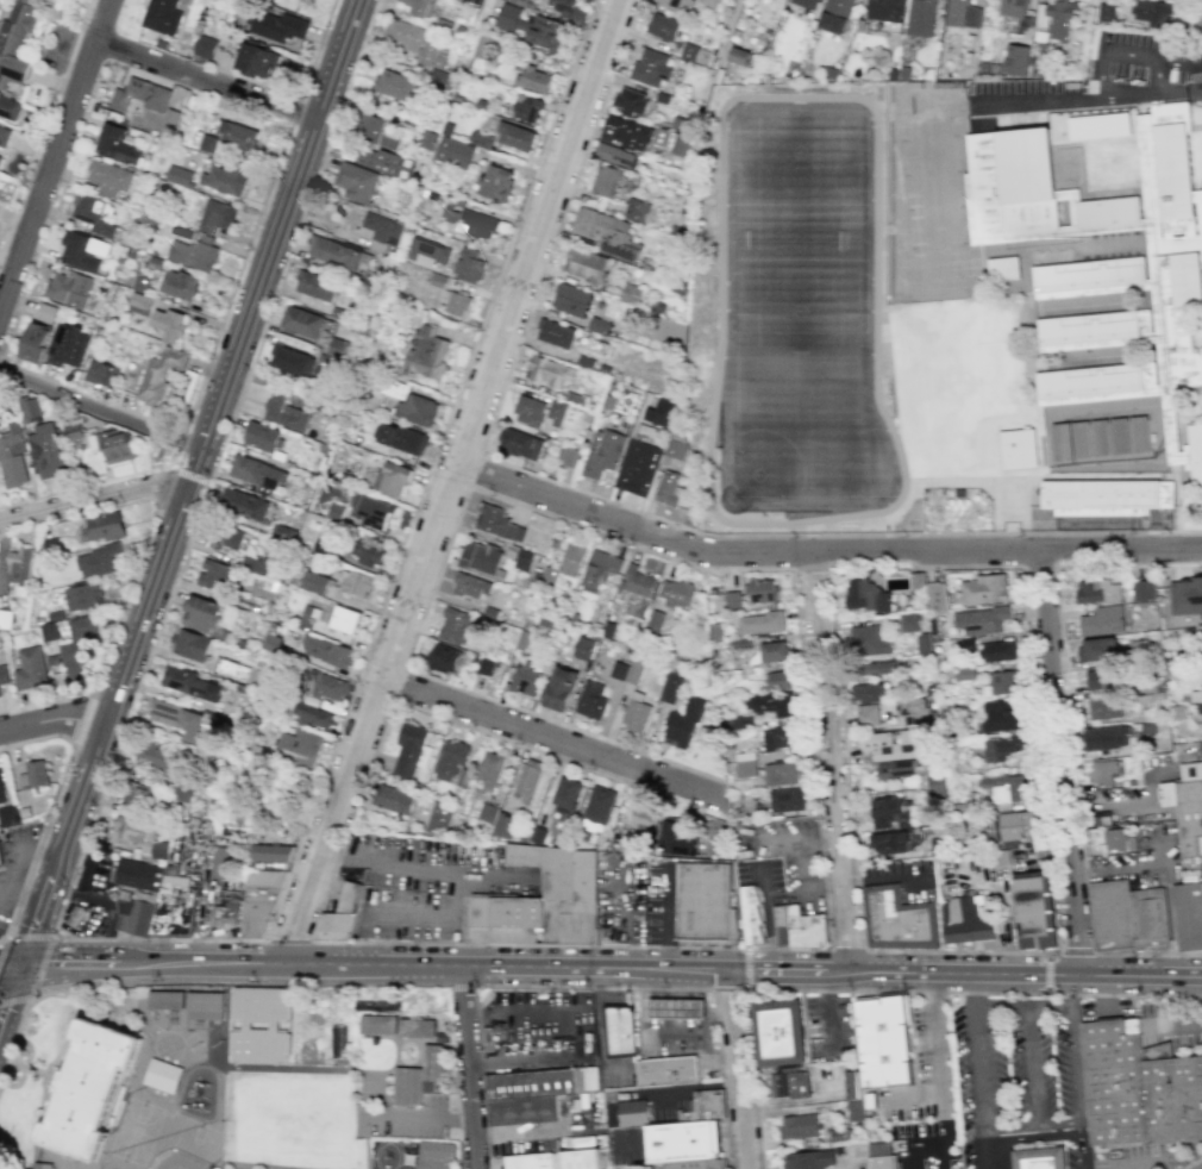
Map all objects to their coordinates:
building: (524, 2)
building: (708, 2)
building: (675, 4)
building: (807, 4)
building: (419, 7)
building: (565, 7)
building: (885, 10)
building: (1153, 12)
building: (1107, 13)
building: (963, 14)
building: (1012, 14)
building: (161, 15)
building: (834, 15)
building: (920, 17)
building: (1054, 18)
road: (1200, 19)
building: (278, 26)
building: (532, 26)
building: (662, 26)
road: (728, 31)
road: (480, 33)
building: (15, 42)
building: (413, 42)
building: (483, 45)
building: (205, 46)
road: (315, 48)
building: (695, 54)
building: (739, 56)
building: (1015, 60)
building: (257, 61)
building: (651, 67)
building: (438, 77)
parking lot: (1106, 79)
building: (534, 80)
road: (205, 82)
building: (395, 85)
building: (139, 95)
building: (630, 101)
building: (8, 108)
building: (527, 108)
road: (294, 110)
road: (38, 127)
building: (613, 129)
building: (380, 130)
building: (4, 136)
building: (237, 136)
building: (515, 136)
building: (638, 136)
building: (427, 139)
building: (481, 139)
building: (207, 143)
building: (114, 144)
building: (681, 144)
building: (453, 152)
building: (615, 155)
building: (0, 156)
road: (55, 156)
building: (392, 163)
building: (177, 175)
building: (107, 177)
building: (224, 180)
building: (606, 181)
building: (356, 182)
building: (496, 182)
road: (1200, 201)
building: (636, 210)
building: (90, 214)
building: (215, 215)
building: (472, 223)
building: (382, 232)
building: (607, 233)
building: (82, 250)
building: (334, 252)
building: (427, 252)
building: (194, 254)
building: (468, 264)
building: (586, 264)
building: (1112, 264)
building: (1003, 268)
building: (177, 285)
building: (315, 286)
building: (69, 287)
building: (631, 293)
building: (570, 299)
building: (456, 302)
building: (138, 304)
building: (44, 312)
track: (797, 315)
park: (797, 317)
building: (302, 321)
building: (168, 324)
building: (556, 332)
building: (35, 342)
building: (67, 345)
building: (338, 348)
building: (426, 354)
building: (292, 361)
road: (205, 370)
building: (549, 371)
building: (100, 373)
building: (159, 374)
building: (411, 404)
building: (27, 407)
road: (100, 411)
building: (528, 411)
building: (284, 412)
building: (556, 412)
building: (659, 412)
building: (73, 430)
building: (263, 437)
building: (402, 438)
building: (1060, 440)
road: (180, 442)
building: (1110, 442)
building: (520, 443)
building: (115, 446)
building: (1018, 448)
building: (675, 449)
building: (44, 451)
building: (602, 452)
building: (12, 456)
building: (570, 456)
building: (638, 467)
road: (474, 470)
road: (190, 473)
building: (257, 473)
building: (392, 479)
road: (163, 482)
road: (92, 483)
road: (453, 485)
building: (668, 488)
road: (599, 496)
building: (1104, 496)
road: (92, 501)
building: (243, 504)
road: (1013, 508)
road: (177, 512)
building: (375, 512)
building: (497, 523)
building: (104, 526)
building: (227, 537)
building: (323, 545)
building: (369, 552)
road: (822, 555)
building: (480, 557)
building: (571, 558)
building: (95, 561)
road: (137, 563)
building: (256, 563)
road: (1037, 565)
road: (828, 567)
road: (809, 568)
building: (599, 569)
building: (18, 570)
building: (213, 575)
building: (638, 581)
building: (916, 581)
building: (315, 582)
building: (355, 582)
building: (471, 586)
building: (984, 589)
building: (1142, 589)
building: (760, 590)
building: (1097, 590)
building: (676, 593)
building: (937, 595)
building: (82, 596)
building: (865, 596)
building: (1185, 596)
building: (732, 599)
building: (201, 613)
building: (307, 618)
building: (5, 619)
building: (344, 619)
building: (979, 620)
building: (1102, 620)
building: (908, 621)
building: (760, 623)
building: (453, 625)
building: (48, 631)
building: (868, 640)
building: (922, 643)
building: (190, 644)
building: (76, 646)
building: (583, 648)
building: (1098, 649)
building: (326, 651)
building: (774, 651)
building: (997, 651)
building: (443, 657)
building: (877, 667)
building: (30, 669)
building: (627, 669)
building: (2, 674)
building: (964, 674)
building: (524, 679)
building: (1098, 679)
building: (777, 680)
building: (1003, 682)
building: (192, 683)
road: (397, 684)
building: (671, 686)
building: (328, 687)
building: (559, 688)
building: (868, 692)
building: (0, 693)
building: (591, 700)
building: (775, 704)
building: (1104, 707)
building: (914, 711)
building: (866, 714)
building: (636, 715)
road: (81, 717)
building: (313, 717)
building: (1000, 717)
building: (177, 718)
road: (55, 724)
building: (682, 725)
building: (1107, 737)
road: (36, 738)
building: (778, 738)
road: (1070, 738)
road: (557, 742)
building: (890, 744)
building: (298, 746)
building: (1000, 749)
building: (411, 750)
building: (155, 754)
building: (450, 759)
building: (745, 764)
road: (832, 764)
road: (1058, 764)
building: (895, 769)
building: (488, 770)
building: (1102, 770)
building: (780, 774)
building: (33, 775)
building: (527, 777)
building: (935, 782)
building: (1006, 788)
building: (182, 793)
building: (137, 794)
building: (565, 794)
building: (392, 799)
building: (785, 800)
building: (597, 809)
building: (487, 812)
building: (891, 812)
building: (7, 815)
building: (1103, 817)
building: (439, 818)
building: (643, 818)
building: (1190, 819)
building: (505, 825)
building: (1013, 827)
building: (130, 830)
road: (797, 837)
building: (677, 839)
road: (39, 840)
building: (1118, 840)
building: (889, 842)
building: (158, 849)
building: (270, 852)
road: (42, 855)
parking lot: (785, 855)
building: (220, 862)
building: (0, 864)
parking lot: (13, 864)
road: (424, 867)
building: (0, 870)
building: (137, 874)
road: (15, 875)
parking lot: (762, 877)
road: (809, 879)
road: (824, 888)
building: (562, 889)
parking lot: (619, 896)
building: (349, 898)
parking lot: (659, 899)
building: (258, 900)
building: (703, 901)
building: (173, 905)
building: (225, 906)
building: (134, 913)
building: (749, 913)
building: (506, 914)
building: (74, 915)
building: (1038, 915)
building: (1110, 915)
building: (1188, 917)
building: (1152, 919)
road: (625, 920)
road: (664, 921)
building: (900, 921)
road: (769, 924)
building: (969, 924)
building: (334, 926)
building: (797, 926)
road: (2, 937)
road: (159, 939)
road: (286, 940)
road: (846, 949)
road: (45, 950)
road: (1075, 951)
road: (10, 964)
road: (52, 964)
road: (113, 965)
road: (744, 967)
traffic signals: (20, 969)
road: (433, 969)
road: (1046, 971)
road: (10, 973)
road: (775, 974)
road: (838, 974)
road: (1027, 975)
road: (193, 981)
road: (649, 984)
road: (461, 986)
road: (593, 986)
road: (689, 986)
road: (727, 989)
road: (883, 990)
road: (662, 993)
road: (677, 993)
road: (696, 994)
road: (1104, 994)
building: (164, 999)
road: (1200, 1000)
building: (205, 1005)
road: (650, 1008)
road: (666, 1008)
building: (675, 1008)
road: (683, 1008)
road: (700, 1008)
road: (826, 1008)
road: (1022, 1008)
parking lot: (1106, 1008)
road: (701, 1012)
road: (716, 1012)
parking lot: (534, 1013)
road: (520, 1014)
building: (377, 1024)
road: (651, 1024)
road: (668, 1024)
road: (684, 1024)
road: (701, 1024)
parking lot: (1173, 1024)
building: (245, 1025)
road: (1177, 1025)
building: (415, 1029)
parking lot: (829, 1029)
building: (618, 1030)
building: (778, 1032)
road: (599, 1033)
road: (701, 1034)
building: (440, 1037)
gas station: (672, 1037)
building: (487, 1038)
building: (337, 1040)
building: (884, 1042)
parking lot: (664, 1046)
road: (931, 1048)
road: (537, 1058)
building: (431, 1062)
road: (26, 1067)
road: (1032, 1068)
road: (468, 1069)
building: (666, 1071)
road: (735, 1071)
road: (977, 1071)
road: (1077, 1071)
parking lot: (616, 1073)
building: (162, 1075)
parking lot: (1019, 1080)
building: (540, 1082)
building: (790, 1082)
building: (407, 1084)
building: (852, 1084)
building: (89, 1088)
road: (682, 1088)
building: (1139, 1088)
parking lot: (925, 1090)
road: (924, 1100)
parking lot: (666, 1102)
building: (702, 1106)
building: (522, 1109)
building: (854, 1111)
building: (633, 1112)
road: (424, 1115)
parking lot: (407, 1118)
building: (797, 1126)
road: (1032, 1126)
road: (730, 1130)
road: (540, 1131)
park: (136, 1132)
road: (681, 1134)
building: (835, 1134)
road: (633, 1138)
road: (1032, 1138)
park: (198, 1140)
building: (681, 1142)
parking lot: (626, 1145)
road: (939, 1145)
building: (434, 1155)
parking lot: (1137, 1158)
building: (555, 1159)
building: (807, 1159)
building: (1040, 1159)
building: (883, 1162)
road: (1132, 1162)
road: (1189, 1162)
road: (176, 1163)
parking lot: (184, 1163)
building: (695, 1164)
building: (42, 1165)
parking lot: (638, 1167)
road: (461, 1168)

